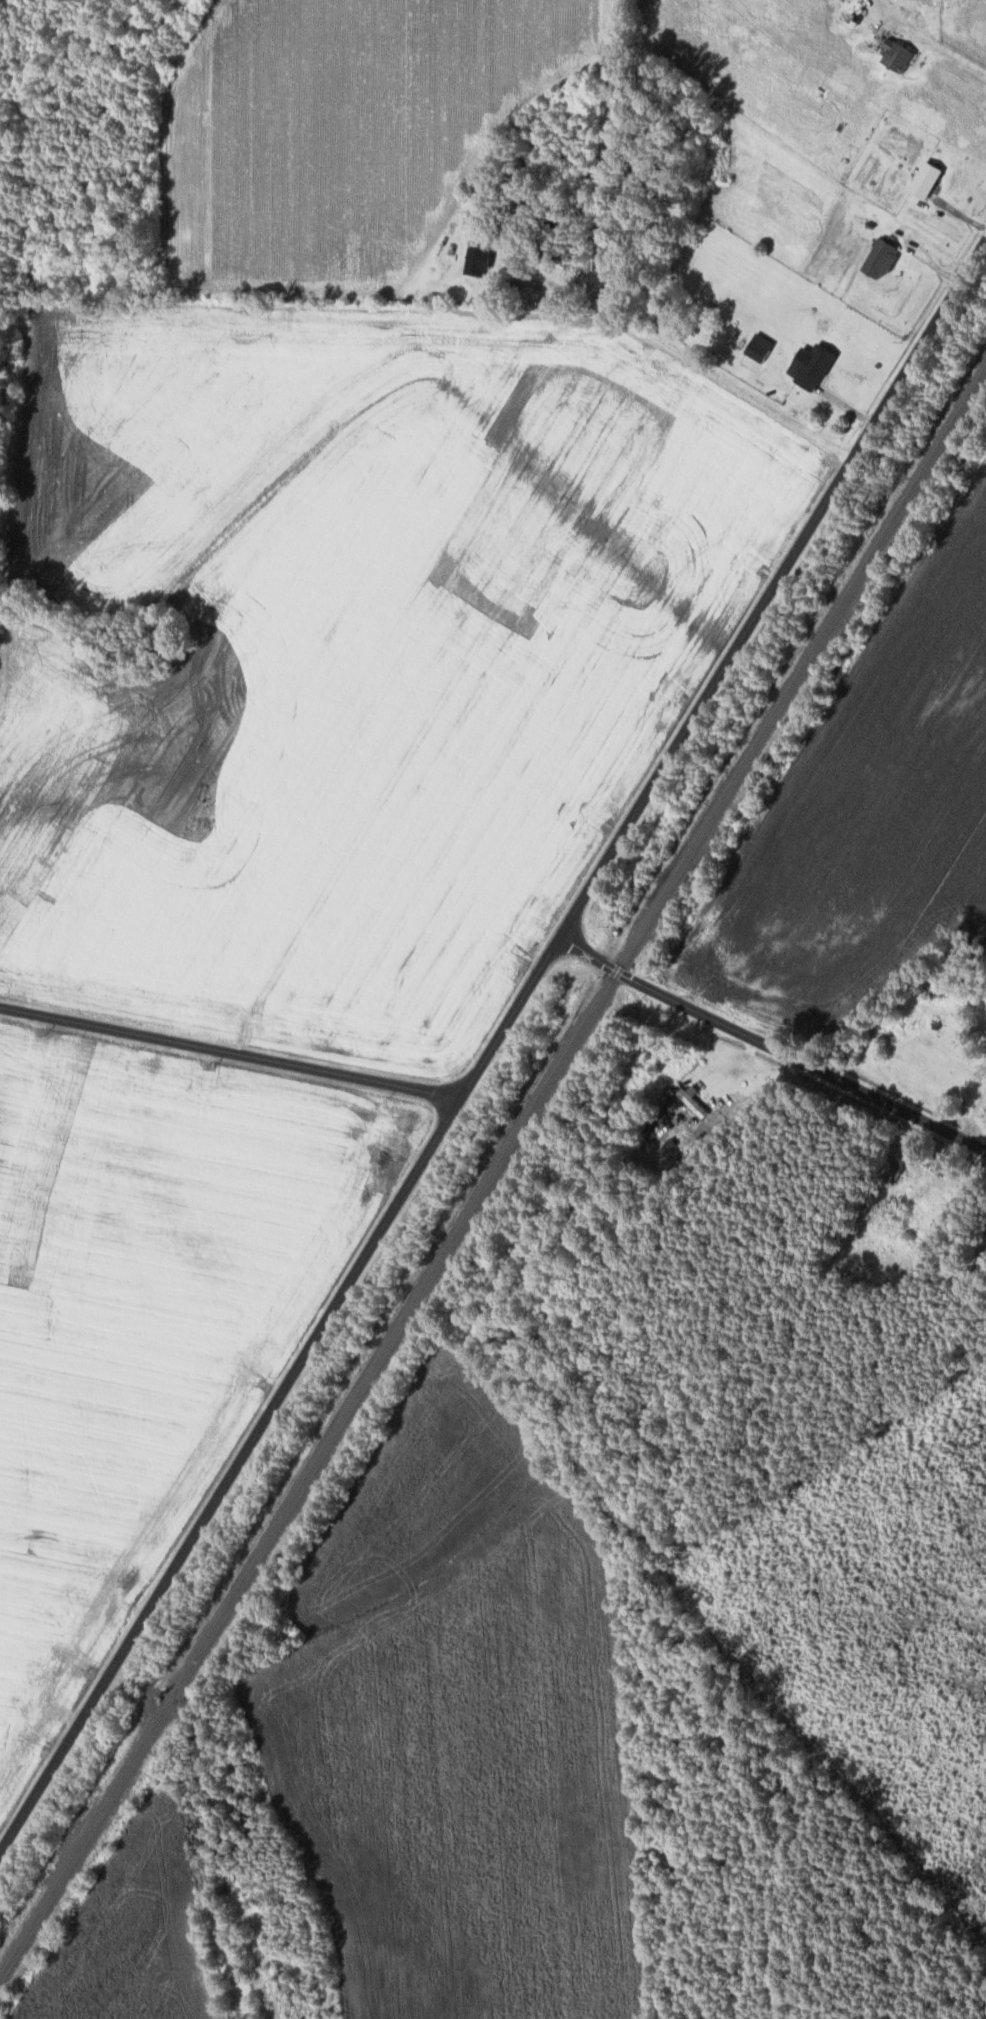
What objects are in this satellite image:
road: (947, 49)
building: (891, 54)
building: (921, 179)
building: (479, 256)
building: (876, 257)
building: (755, 345)
building: (807, 364)
road: (491, 1043)
road: (769, 1044)
road: (229, 1050)
building: (691, 1099)
road: (973, 1114)
railway: (492, 1171)

